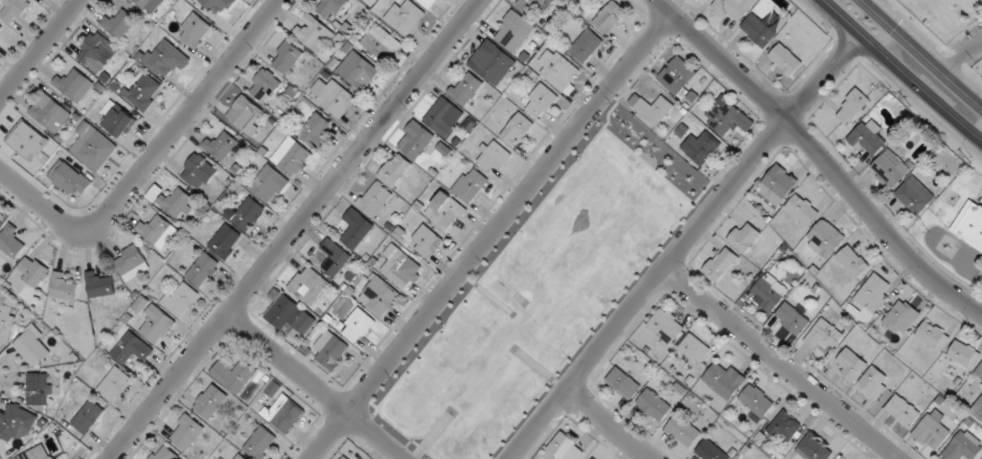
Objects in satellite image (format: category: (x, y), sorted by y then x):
building: (711, 0)
building: (427, 3)
building: (148, 5)
building: (535, 5)
building: (218, 6)
building: (331, 7)
building: (14, 8)
building: (734, 8)
building: (405, 18)
building: (610, 18)
building: (119, 24)
building: (758, 30)
building: (195, 31)
building: (513, 32)
building: (314, 33)
building: (381, 43)
building: (586, 45)
road: (39, 49)
building: (97, 52)
road: (924, 52)
building: (287, 57)
building: (166, 59)
building: (786, 59)
building: (492, 63)
building: (558, 69)
building: (358, 71)
road: (900, 72)
building: (677, 76)
building: (74, 85)
building: (266, 85)
building: (466, 88)
building: (144, 93)
building: (336, 100)
building: (540, 102)
building: (852, 106)
building: (652, 108)
building: (50, 113)
building: (246, 115)
building: (444, 117)
building: (724, 120)
building: (119, 121)
building: (316, 130)
building: (517, 130)
building: (869, 138)
building: (416, 141)
building: (220, 145)
building: (92, 147)
building: (702, 148)
building: (493, 156)
road: (820, 156)
road: (152, 157)
building: (292, 157)
building: (890, 169)
building: (395, 170)
building: (198, 172)
building: (69, 179)
building: (269, 185)
building: (470, 185)
building: (779, 185)
building: (915, 196)
building: (375, 200)
building: (178, 204)
building: (803, 210)
building: (446, 212)
building: (247, 213)
building: (969, 226)
road: (294, 229)
building: (357, 229)
building: (158, 230)
road: (490, 236)
building: (744, 238)
building: (825, 239)
building: (11, 242)
building: (225, 242)
building: (425, 242)
road: (683, 246)
building: (334, 258)
building: (129, 261)
building: (853, 262)
building: (721, 264)
building: (397, 265)
building: (33, 271)
building: (203, 271)
building: (100, 285)
building: (309, 285)
building: (64, 290)
building: (769, 292)
building: (874, 294)
building: (380, 297)
building: (180, 300)
building: (290, 315)
building: (901, 318)
building: (7, 319)
building: (793, 319)
building: (153, 321)
building: (355, 324)
building: (665, 328)
building: (824, 336)
building: (933, 336)
building: (32, 346)
building: (695, 348)
building: (132, 350)
building: (332, 351)
building: (964, 355)
road: (781, 364)
building: (851, 365)
building: (234, 376)
building: (724, 381)
building: (624, 383)
building: (874, 383)
building: (114, 384)
road: (315, 386)
building: (39, 390)
building: (756, 401)
building: (211, 402)
building: (654, 406)
building: (979, 408)
building: (903, 410)
building: (283, 413)
building: (87, 417)
building: (16, 423)
road: (608, 424)
building: (785, 427)
building: (932, 430)
building: (683, 431)
building: (187, 432)
building: (261, 443)
building: (963, 446)
building: (565, 448)
building: (813, 449)
building: (711, 451)
building: (165, 453)
building: (37, 454)
building: (239, 457)
building: (346, 457)
building: (222, 458)
building: (594, 458)

